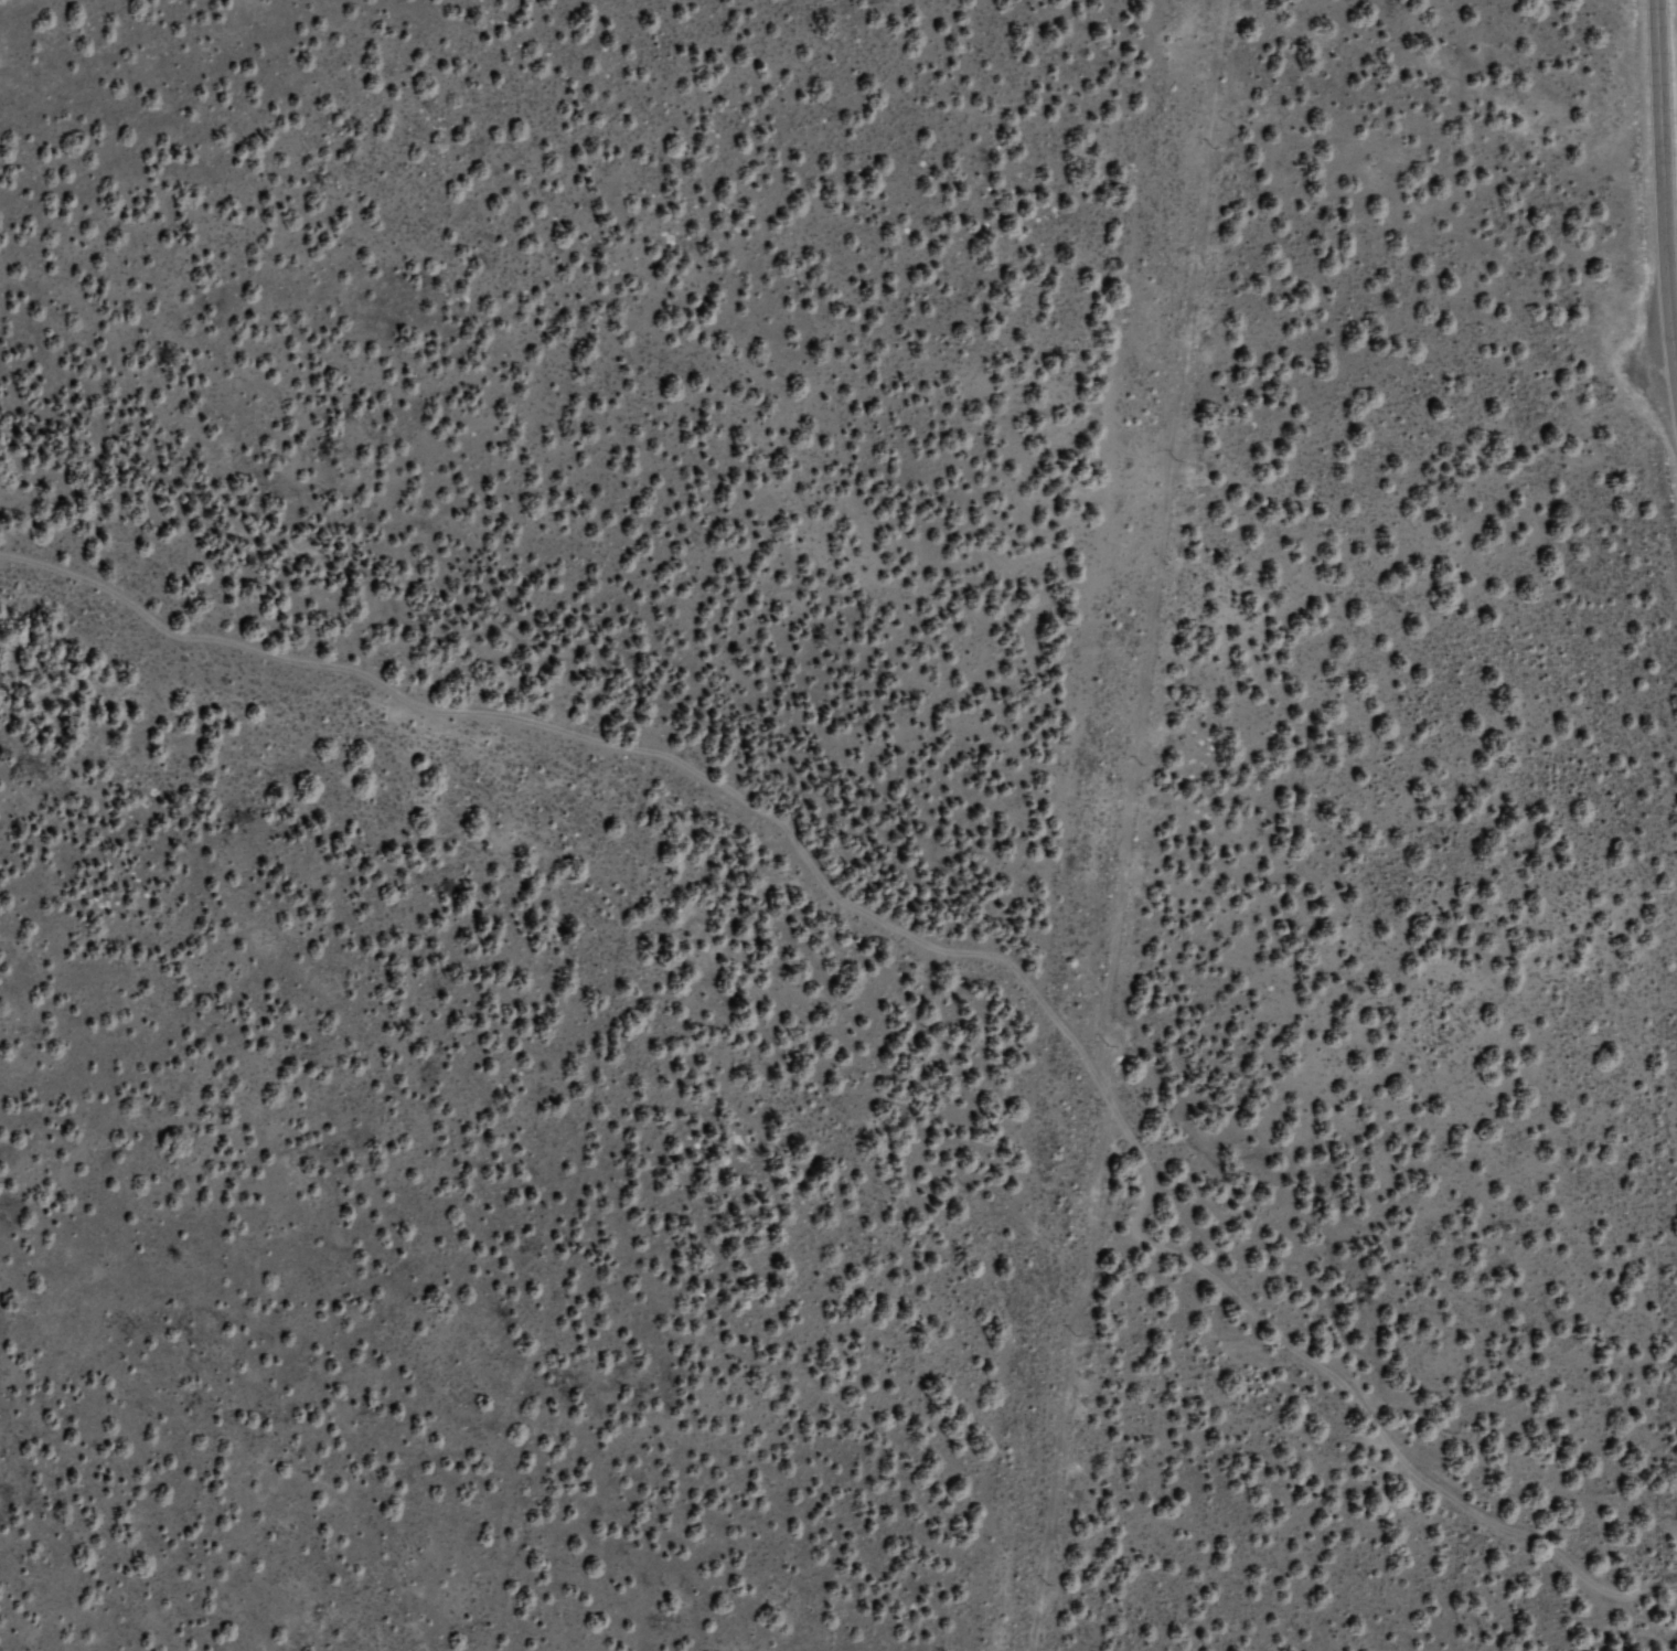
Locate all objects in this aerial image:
road: (1664, 187)

